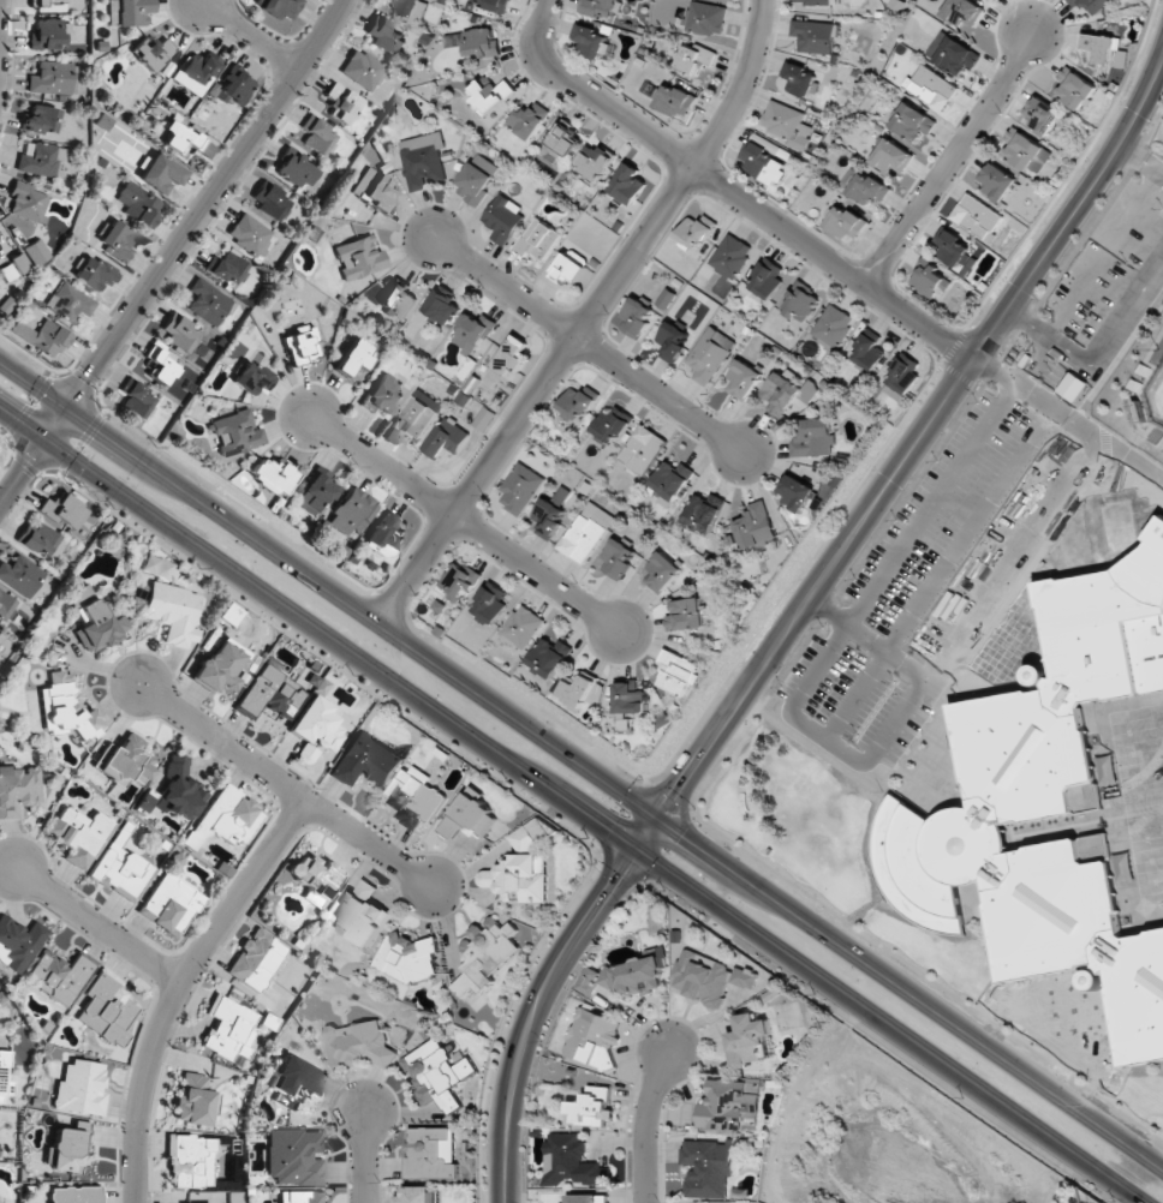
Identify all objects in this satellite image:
building: (47, 1)
building: (819, 2)
building: (496, 5)
building: (1092, 5)
building: (280, 6)
building: (597, 6)
building: (411, 10)
building: (131, 12)
building: (964, 12)
building: (705, 18)
building: (48, 32)
road: (251, 35)
building: (816, 36)
building: (589, 41)
building: (473, 42)
building: (1099, 46)
building: (151, 52)
building: (953, 53)
building: (694, 59)
building: (363, 70)
building: (196, 72)
building: (53, 78)
building: (800, 80)
building: (234, 86)
building: (931, 86)
building: (1074, 89)
building: (490, 95)
building: (674, 101)
building: (341, 102)
building: (1042, 115)
building: (41, 120)
building: (529, 120)
building: (912, 122)
building: (786, 124)
building: (316, 134)
building: (181, 138)
building: (562, 143)
building: (1026, 151)
building: (891, 156)
building: (40, 158)
building: (423, 160)
building: (594, 161)
road: (1140, 162)
road: (947, 163)
building: (764, 164)
building: (296, 168)
building: (161, 173)
building: (477, 179)
building: (997, 181)
building: (628, 184)
building: (867, 188)
building: (372, 190)
road: (729, 191)
building: (269, 200)
building: (28, 203)
building: (137, 203)
building: (978, 217)
building: (503, 219)
building: (846, 223)
building: (696, 231)
building: (250, 233)
building: (538, 239)
building: (115, 240)
road: (173, 251)
building: (36, 252)
building: (955, 252)
building: (730, 256)
building: (358, 257)
building: (19, 263)
building: (227, 267)
building: (569, 267)
building: (94, 273)
building: (767, 280)
building: (930, 281)
building: (398, 300)
building: (68, 301)
building: (209, 303)
building: (800, 303)
building: (443, 307)
road: (586, 318)
building: (637, 318)
building: (833, 327)
building: (473, 331)
building: (178, 333)
building: (41, 336)
building: (670, 341)
building: (302, 345)
road: (588, 346)
building: (867, 351)
building: (512, 354)
building: (710, 354)
building: (354, 357)
road: (1101, 357)
road: (1027, 360)
building: (162, 366)
building: (903, 375)
building: (251, 378)
building: (742, 379)
road: (1069, 387)
building: (787, 391)
building: (383, 395)
building: (136, 399)
building: (578, 403)
building: (416, 415)
building: (484, 419)
building: (614, 424)
building: (235, 433)
building: (447, 438)
building: (813, 438)
road: (918, 438)
building: (642, 450)
building: (274, 475)
building: (669, 483)
building: (520, 487)
building: (316, 491)
building: (797, 492)
building: (64, 511)
building: (351, 511)
building: (704, 511)
building: (549, 515)
road: (458, 521)
building: (756, 526)
building: (586, 532)
building: (386, 534)
building: (42, 541)
building: (618, 558)
road: (1008, 563)
building: (155, 567)
building: (661, 571)
building: (20, 575)
building: (459, 581)
road: (328, 586)
building: (490, 604)
building: (5, 605)
building: (171, 612)
building: (686, 615)
building: (94, 621)
building: (523, 627)
building: (550, 657)
building: (221, 664)
building: (679, 674)
building: (583, 692)
building: (270, 693)
building: (631, 698)
building: (65, 707)
building: (316, 728)
road: (824, 741)
building: (124, 761)
building: (365, 761)
road: (280, 786)
building: (18, 790)
building: (178, 790)
building: (416, 797)
building: (1048, 804)
road: (571, 807)
building: (469, 814)
traffic signals: (657, 814)
building: (225, 819)
building: (80, 832)
building: (531, 834)
traffic signals: (633, 850)
building: (121, 867)
building: (315, 876)
building: (519, 878)
building: (169, 904)
building: (362, 915)
road: (97, 926)
building: (18, 942)
building: (485, 954)
building: (407, 958)
building: (256, 959)
building: (59, 975)
building: (625, 977)
building: (700, 977)
building: (744, 977)
road: (178, 987)
road: (909, 989)
road: (541, 994)
building: (106, 1007)
building: (229, 1029)
building: (594, 1037)
building: (749, 1040)
building: (357, 1045)
building: (436, 1073)
building: (1, 1075)
building: (294, 1082)
building: (80, 1088)
building: (195, 1100)
building: (592, 1107)
road: (646, 1124)
building: (67, 1148)
building: (431, 1153)
building: (294, 1156)
road: (365, 1156)
building: (191, 1161)
building: (571, 1161)
building: (708, 1168)
building: (74, 1195)
building: (418, 1195)
building: (300, 1197)
building: (588, 1198)
building: (0, 1202)

